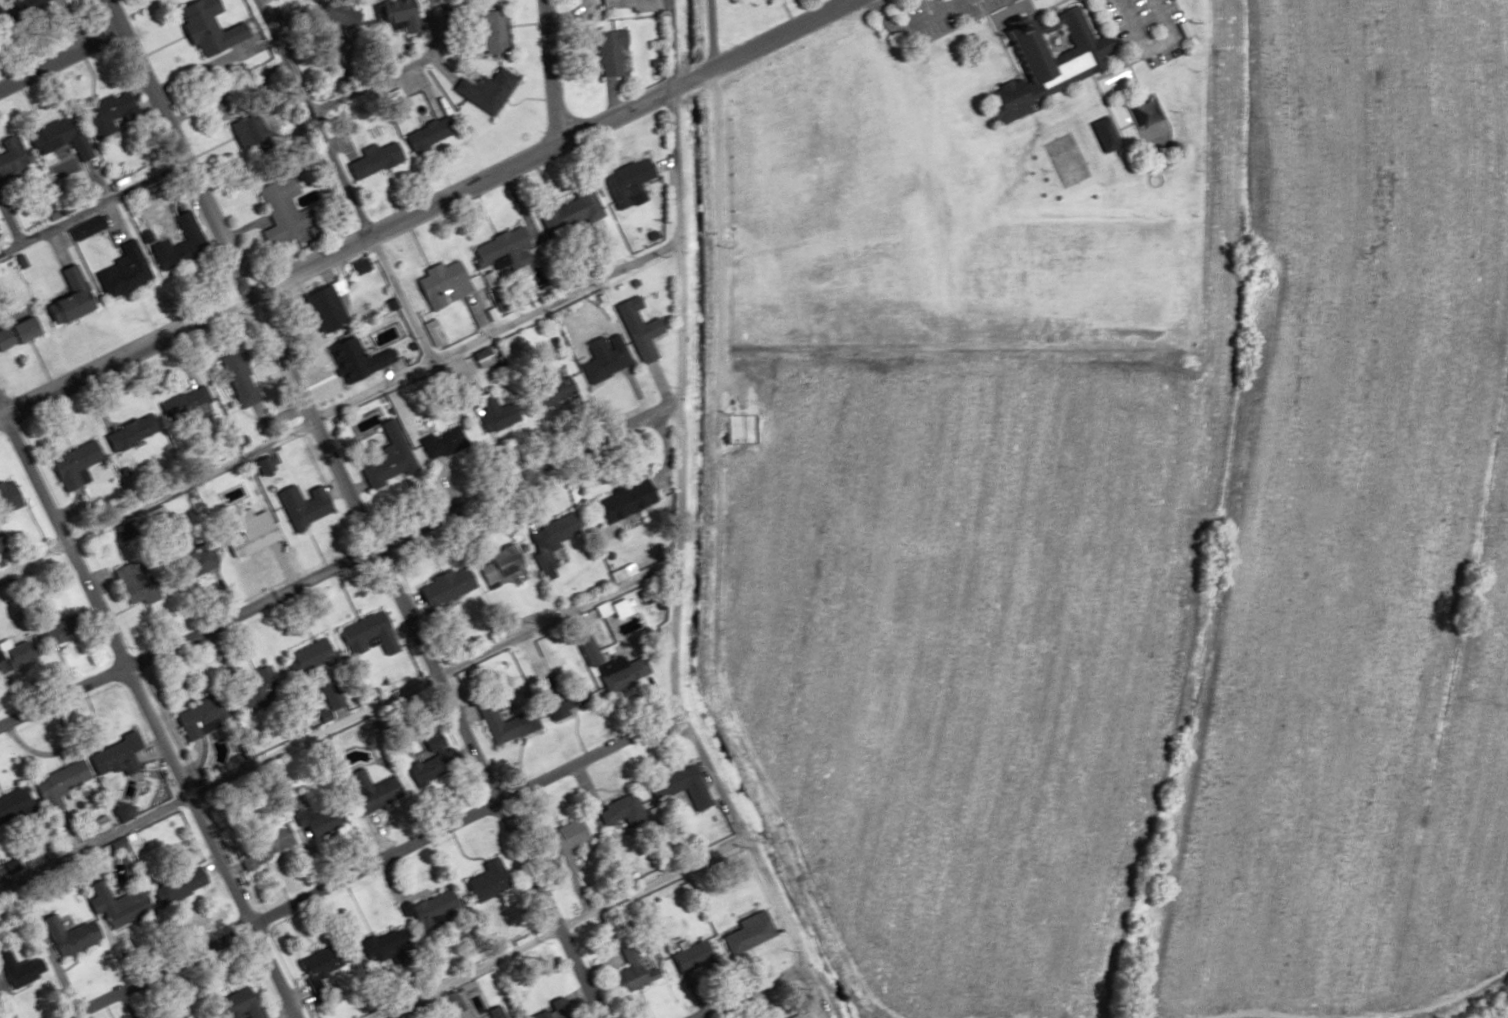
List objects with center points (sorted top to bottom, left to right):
building: (754, 0)
road: (1072, 2)
building: (23, 4)
parking lot: (917, 5)
road: (1009, 11)
parking lot: (1144, 14)
building: (330, 16)
building: (392, 17)
parking lot: (1176, 18)
parking lot: (954, 19)
road: (911, 22)
road: (965, 23)
parking lot: (1114, 23)
road: (1131, 26)
building: (202, 28)
building: (486, 32)
park: (1053, 41)
road: (668, 44)
building: (604, 52)
road: (57, 53)
parking lot: (1165, 55)
road: (1132, 58)
building: (1044, 60)
road: (546, 71)
building: (480, 89)
building: (106, 114)
road: (310, 117)
building: (248, 123)
building: (423, 134)
building: (56, 145)
building: (8, 159)
building: (369, 160)
park: (1067, 160)
building: (625, 178)
road: (88, 203)
road: (424, 206)
building: (279, 209)
building: (563, 209)
building: (175, 244)
building: (499, 249)
building: (121, 272)
building: (437, 284)
building: (66, 298)
building: (317, 308)
building: (490, 314)
building: (16, 332)
building: (639, 339)
building: (353, 359)
building: (600, 364)
building: (235, 378)
building: (547, 390)
building: (189, 399)
road: (336, 406)
building: (492, 414)
building: (127, 433)
building: (437, 442)
building: (71, 466)
building: (382, 467)
building: (232, 494)
building: (10, 496)
building: (615, 502)
road: (352, 508)
building: (304, 509)
crop: (1352, 520)
building: (549, 532)
road: (710, 535)
building: (247, 536)
road: (674, 541)
building: (494, 564)
building: (188, 565)
road: (337, 565)
building: (129, 582)
building: (441, 588)
building: (362, 634)
crop: (972, 635)
building: (32, 645)
building: (584, 652)
building: (302, 660)
building: (249, 688)
building: (194, 713)
road: (147, 719)
road: (338, 722)
building: (496, 725)
building: (110, 756)
building: (429, 758)
building: (56, 783)
building: (683, 786)
building: (365, 792)
building: (14, 808)
building: (615, 810)
building: (314, 819)
building: (560, 844)
building: (260, 845)
road: (370, 867)
building: (482, 881)
building: (176, 886)
building: (428, 908)
building: (89, 926)
road: (557, 926)
building: (744, 932)
building: (380, 945)
building: (688, 956)
building: (310, 964)
building: (17, 969)
building: (628, 973)
road: (741, 991)
building: (449, 1001)
road: (1440, 1003)
building: (236, 1004)
building: (554, 1008)
building: (492, 1012)
building: (792, 1017)

